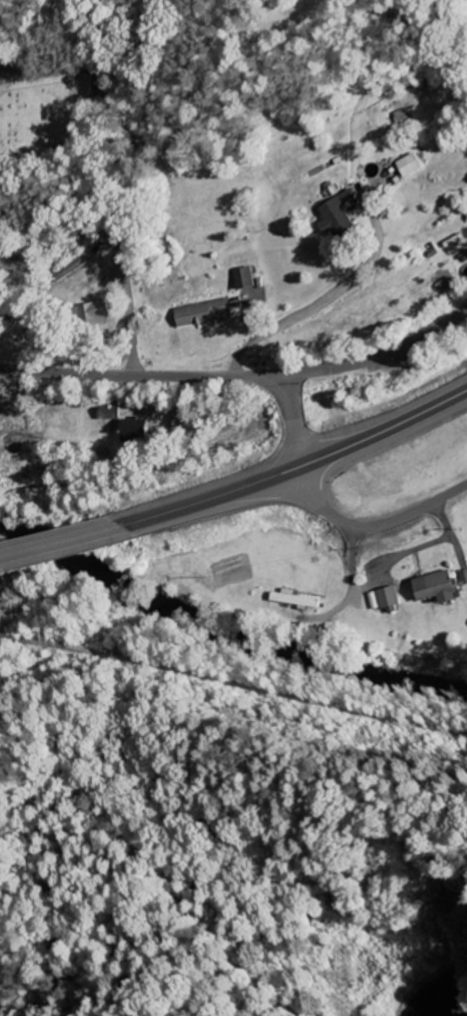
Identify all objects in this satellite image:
road: (105, 195)
building: (335, 216)
building: (242, 276)
building: (203, 310)
road: (240, 381)
road: (296, 422)
building: (134, 428)
road: (294, 467)
road: (372, 524)
road: (57, 542)
building: (440, 583)
building: (382, 596)
building: (293, 597)
river: (224, 620)

